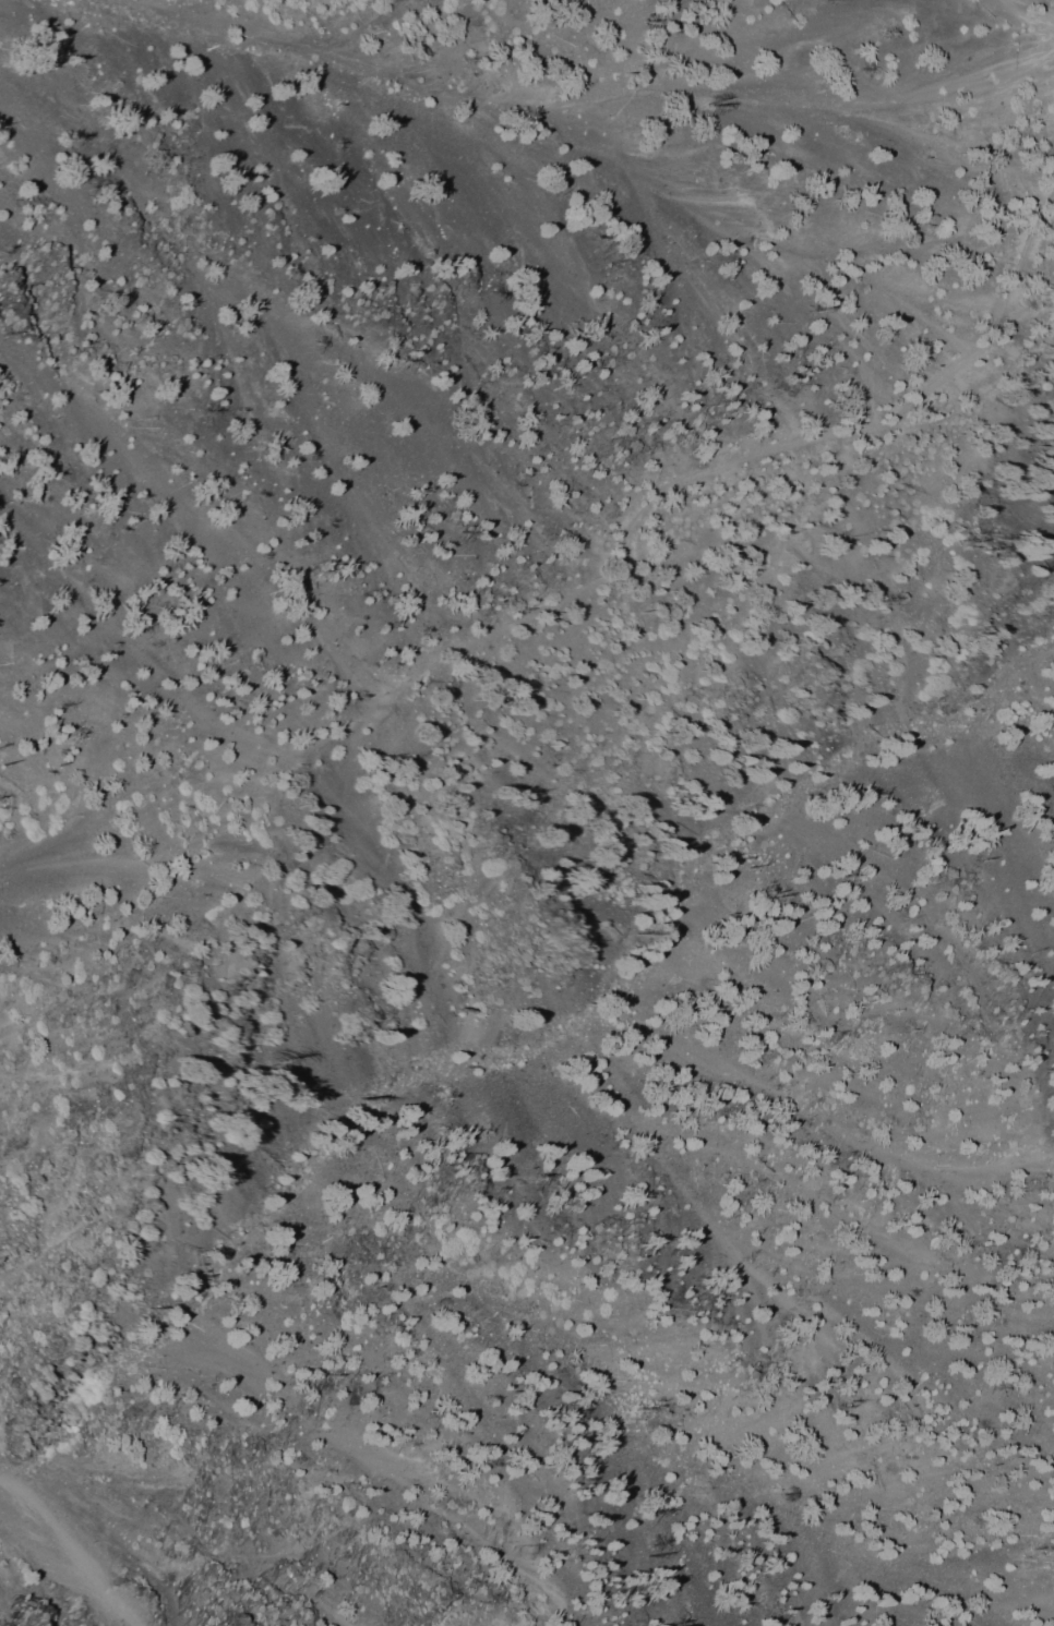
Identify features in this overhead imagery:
ski resort: (596, 121)

